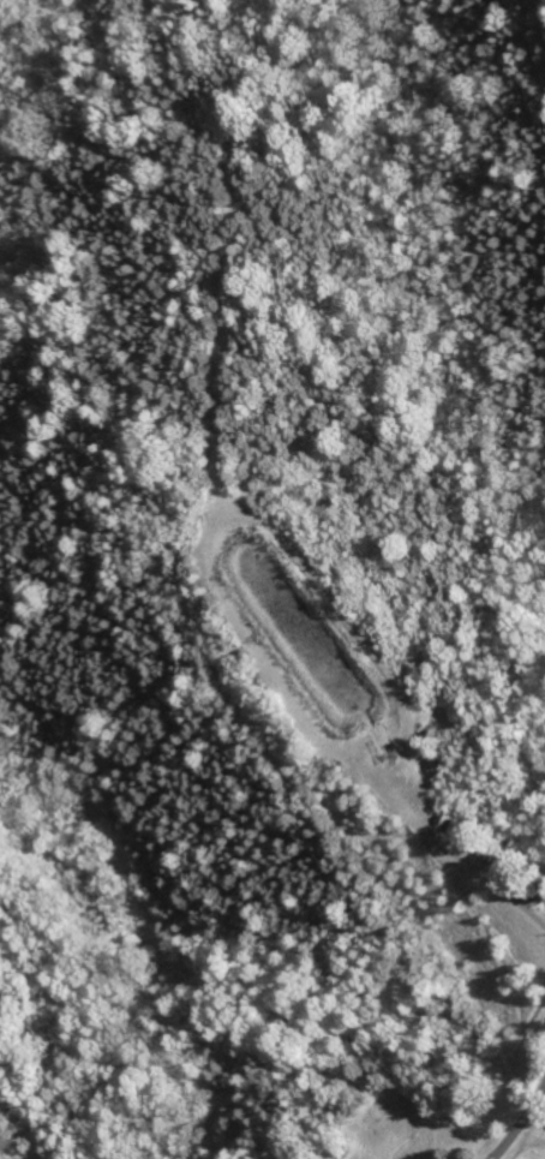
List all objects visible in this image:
road: (486, 873)
road: (523, 1125)

